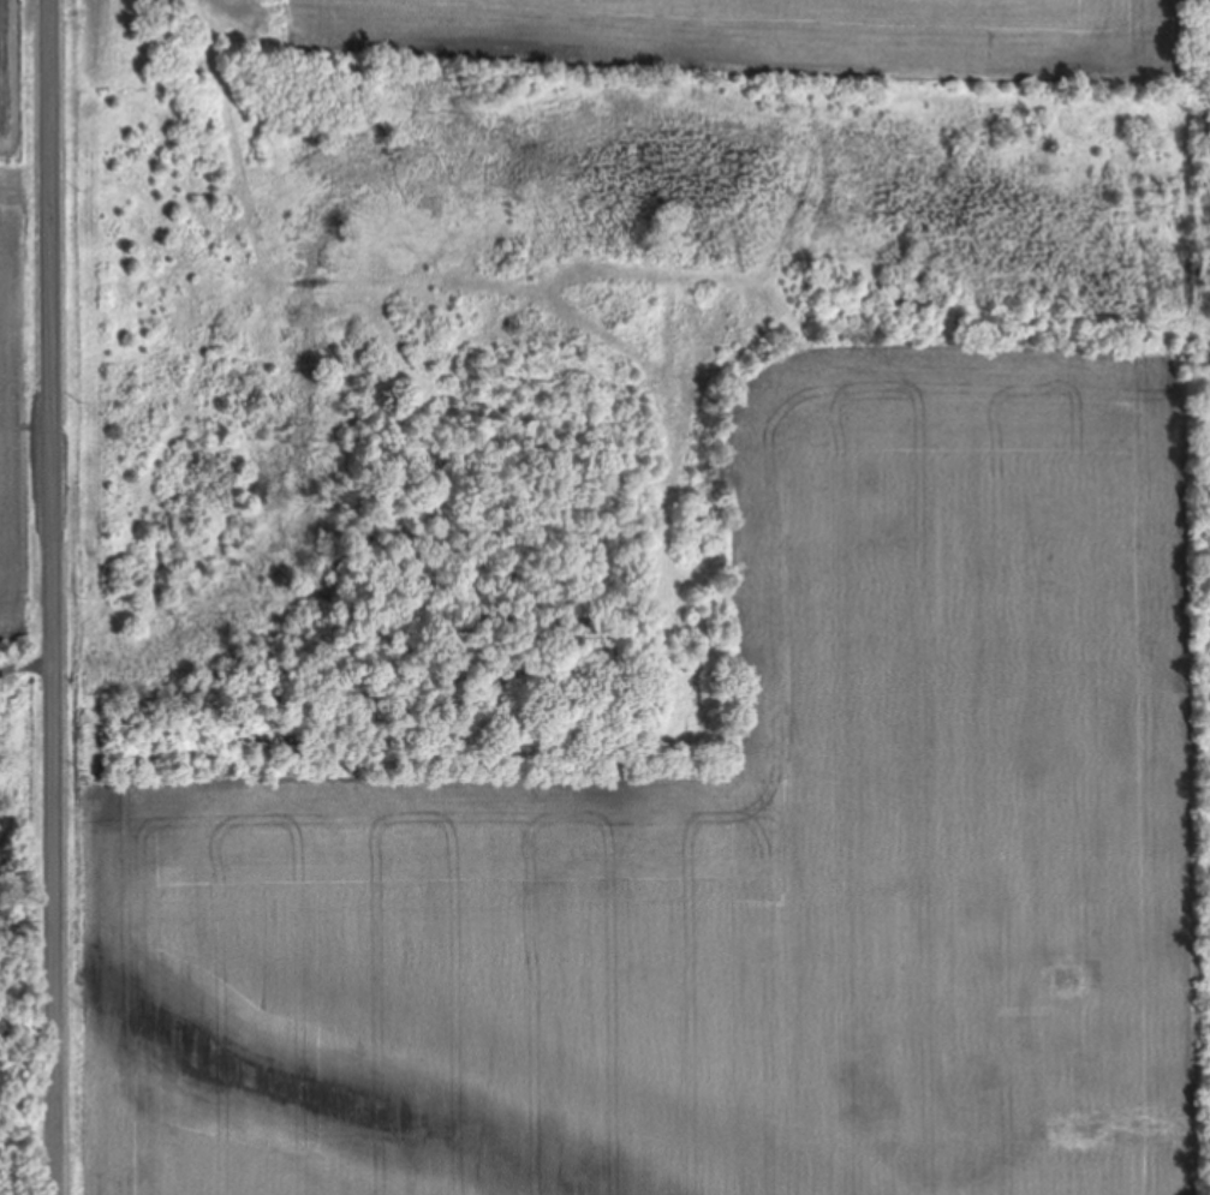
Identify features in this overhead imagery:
crop: (770, 28)
crop: (20, 396)
road: (59, 597)
crop: (723, 858)

